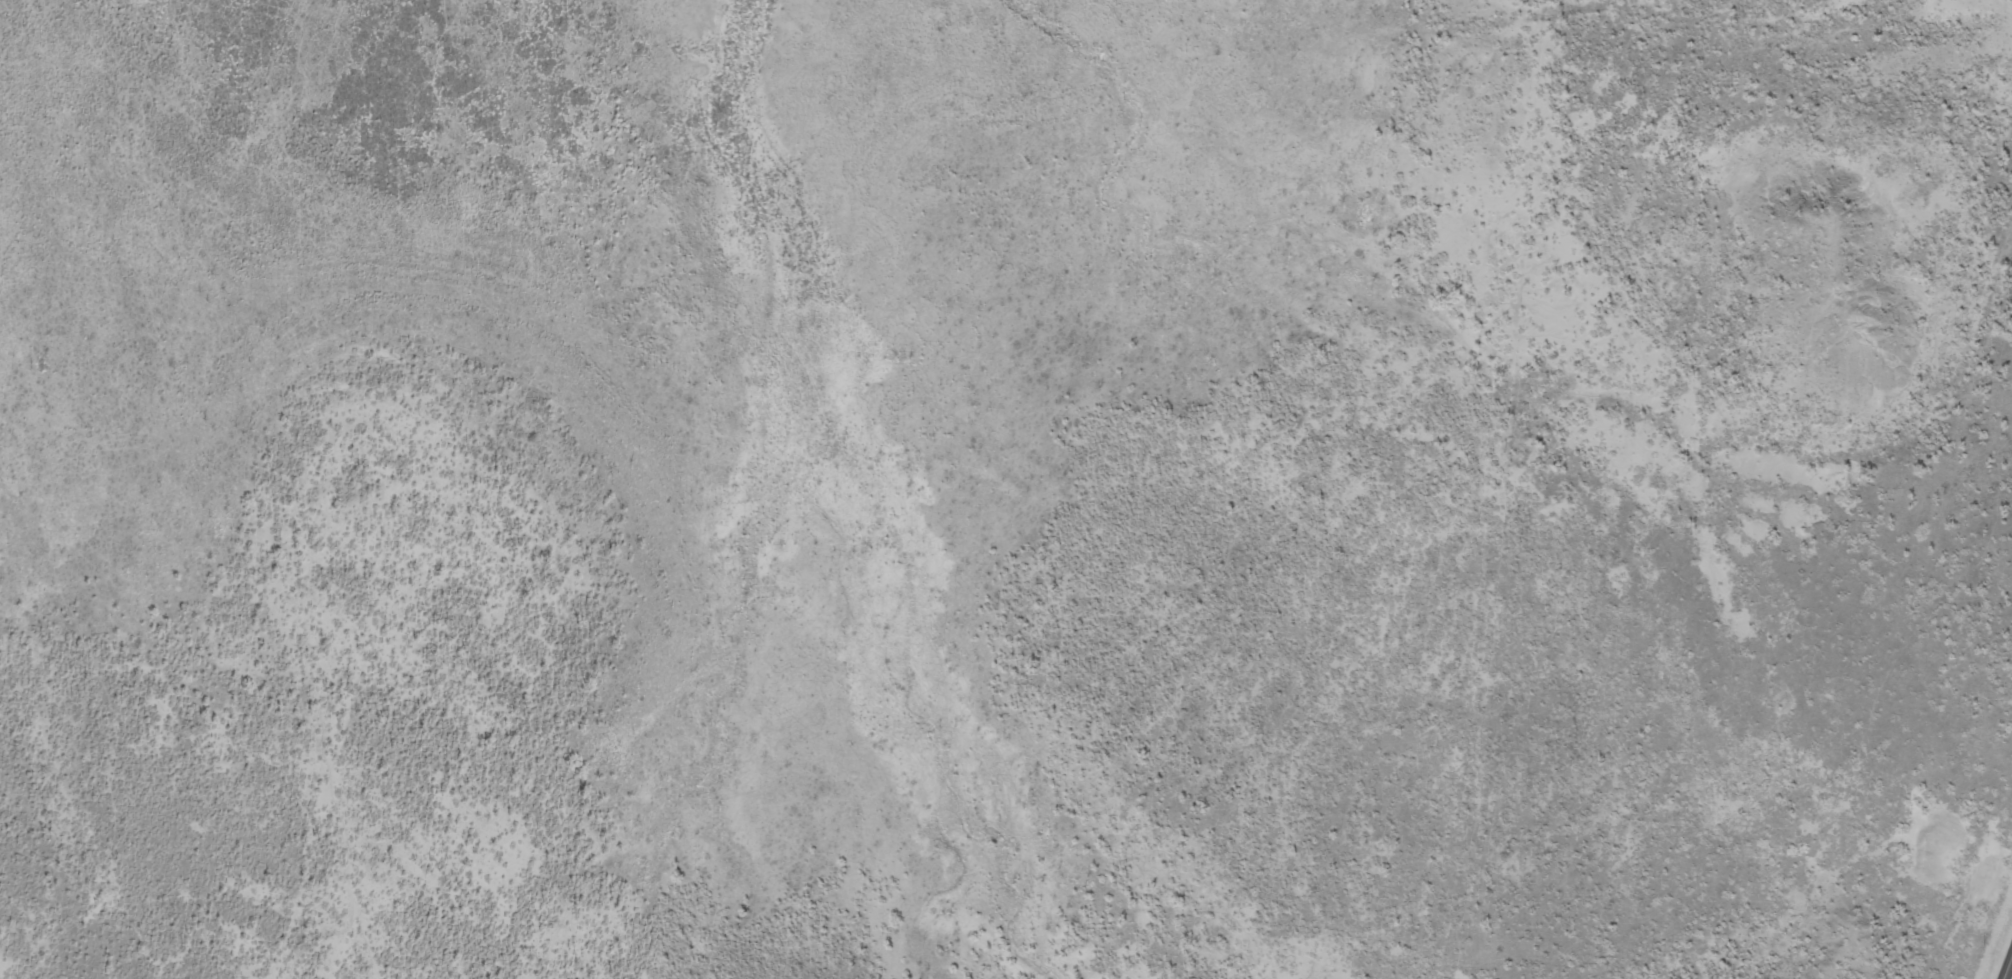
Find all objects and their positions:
road: (1794, 39)
road: (2005, 961)

